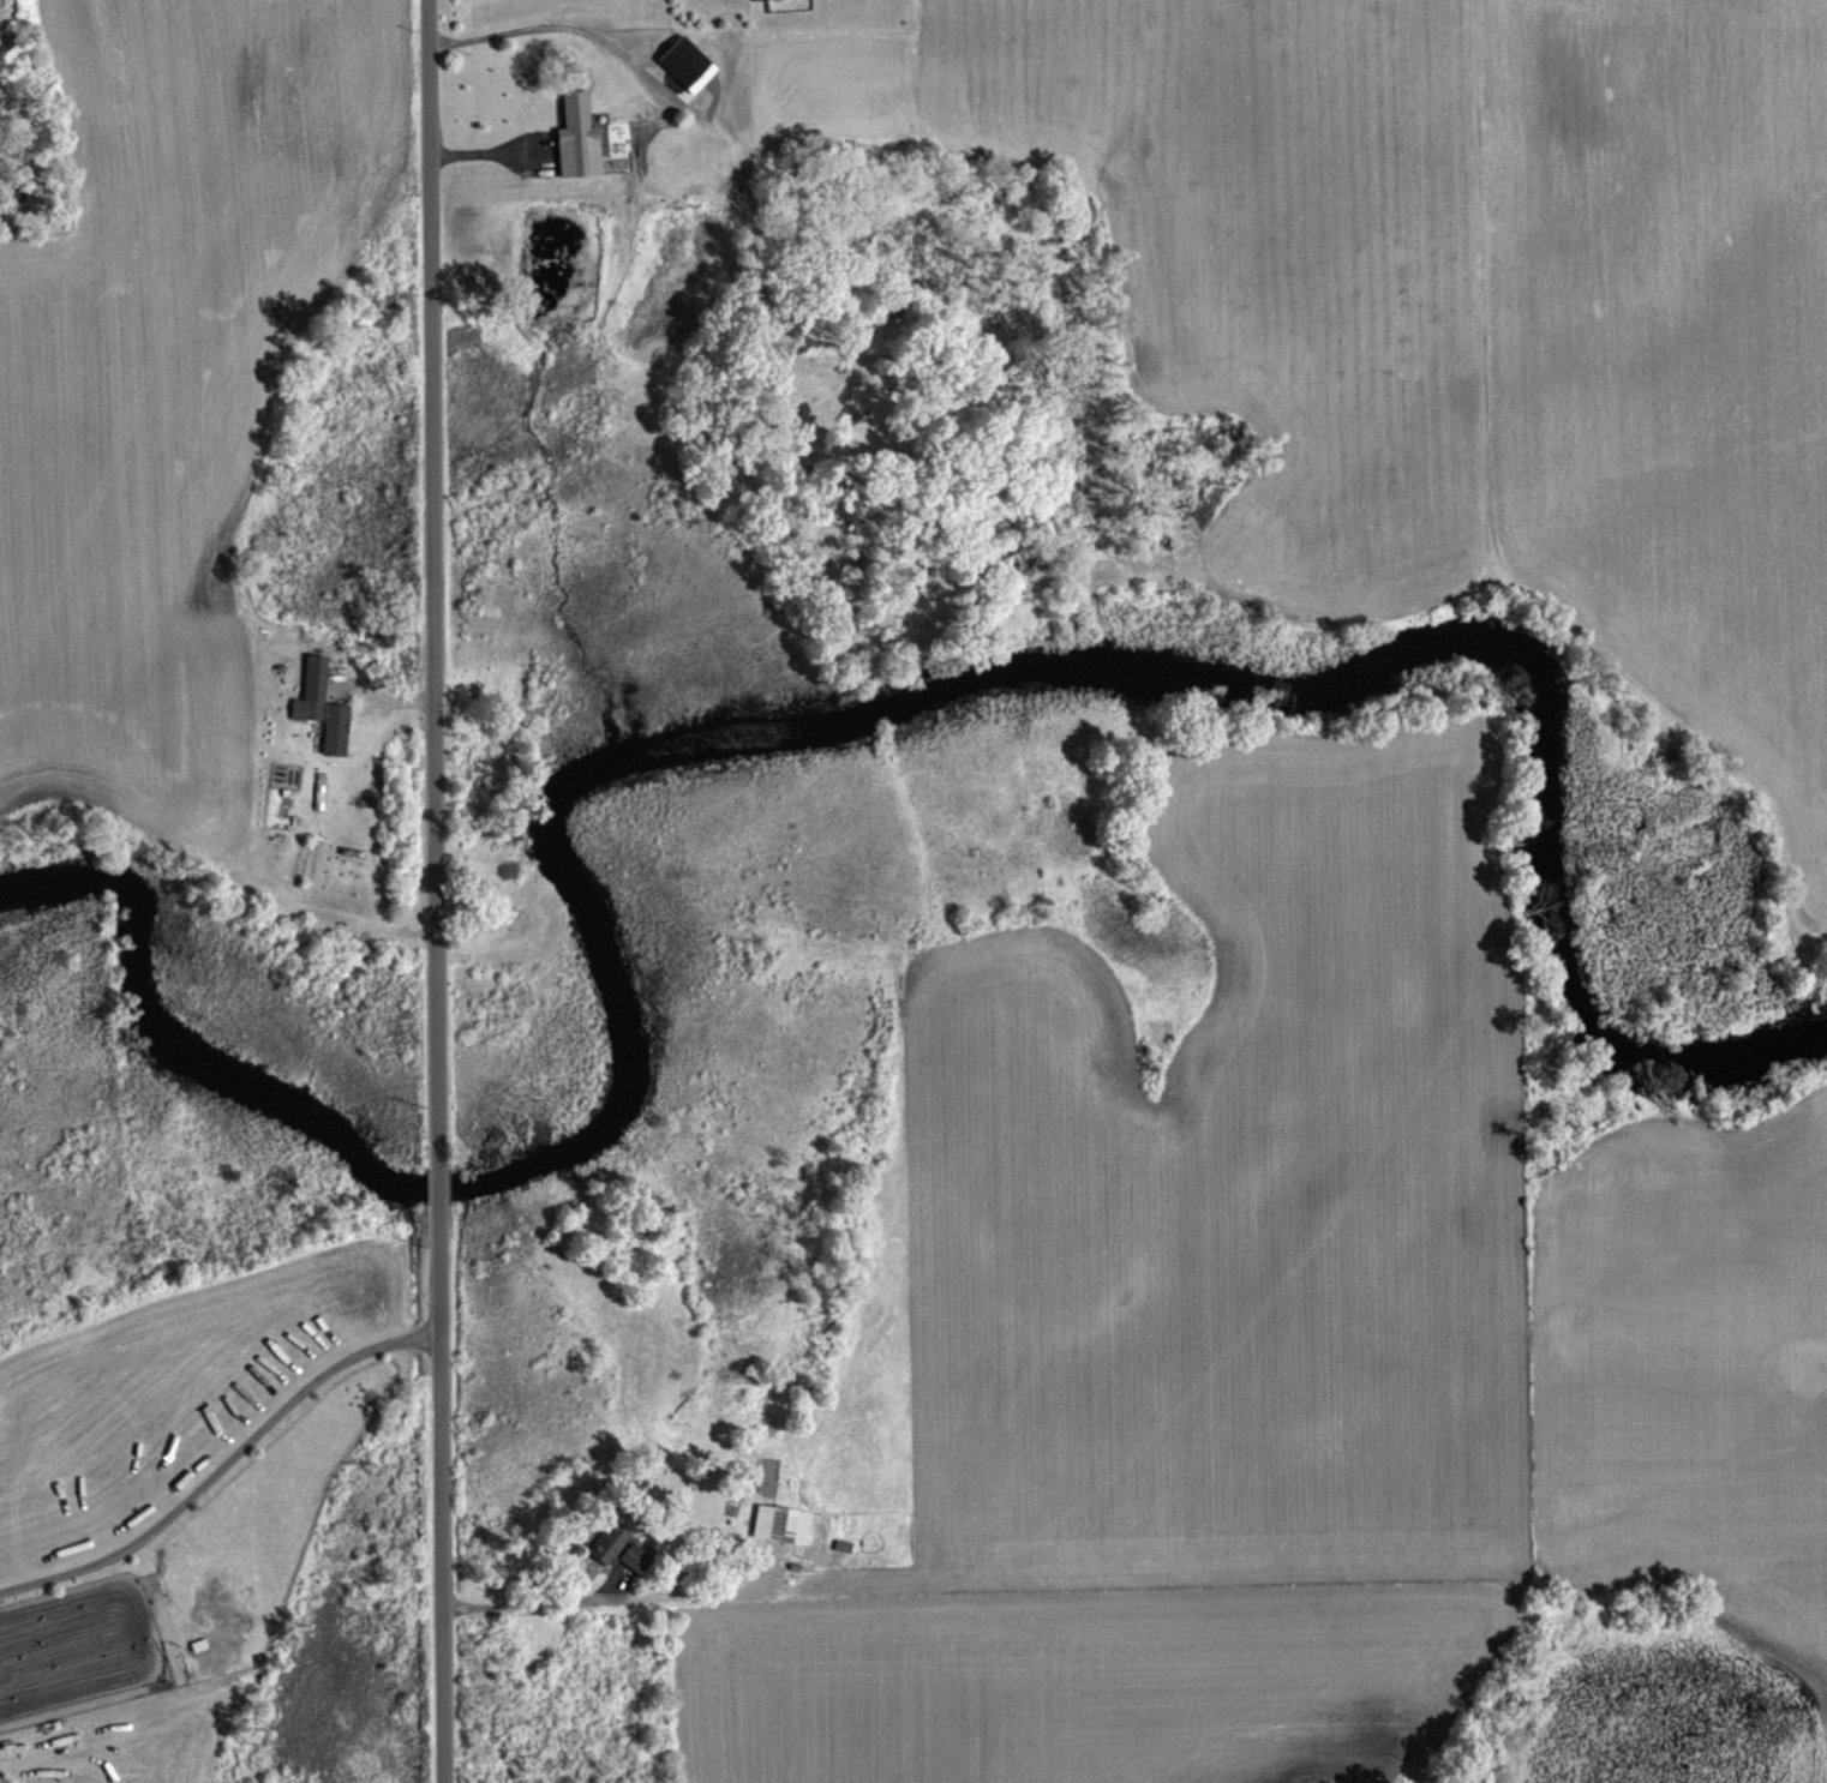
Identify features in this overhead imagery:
building: (685, 61)
building: (579, 138)
road: (433, 562)
building: (331, 724)
river: (762, 734)
road: (439, 1191)
road: (442, 1520)
building: (783, 1524)
building: (625, 1551)

